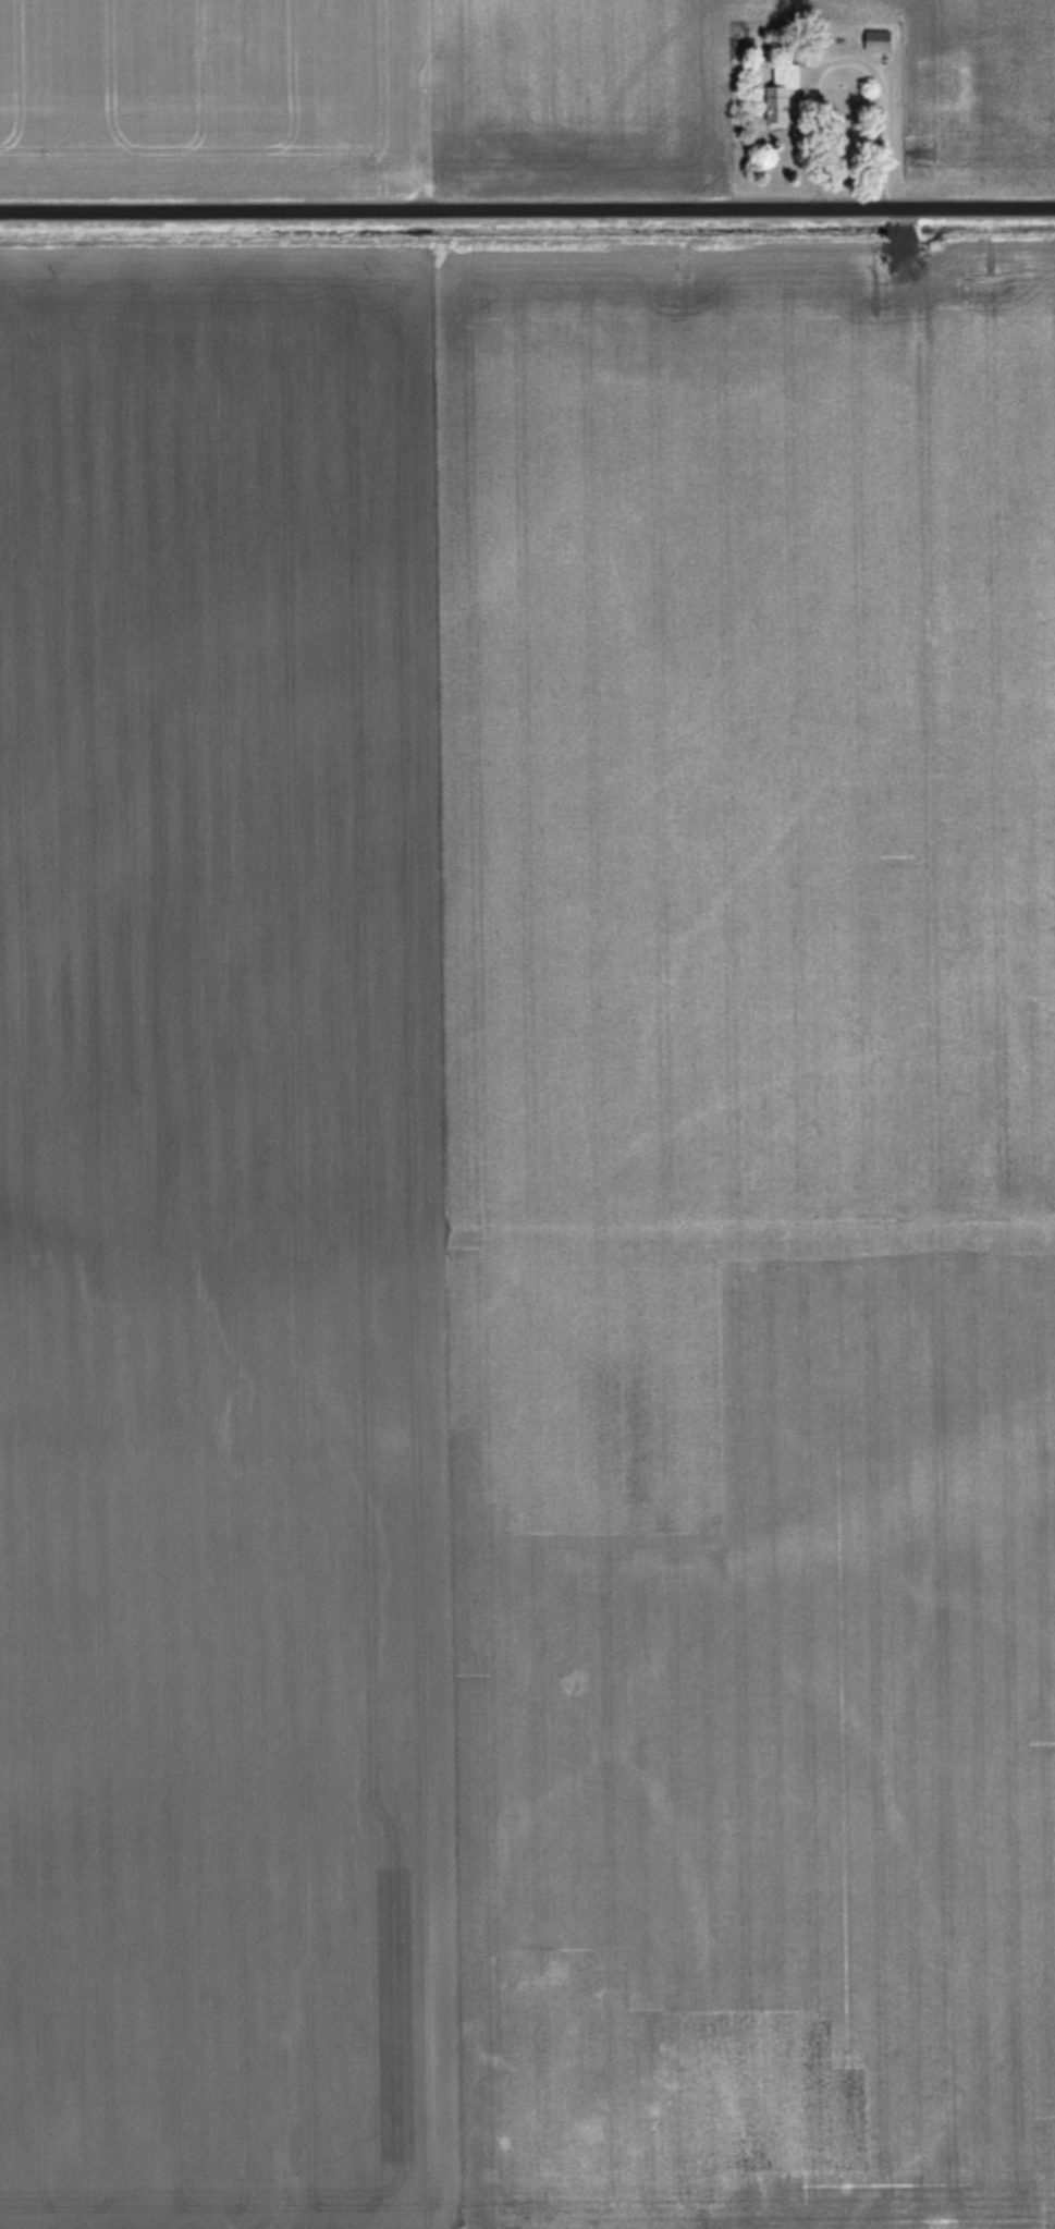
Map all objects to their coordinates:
building: (843, 5)
building: (875, 39)
building: (931, 83)
building: (778, 94)
road: (527, 217)

